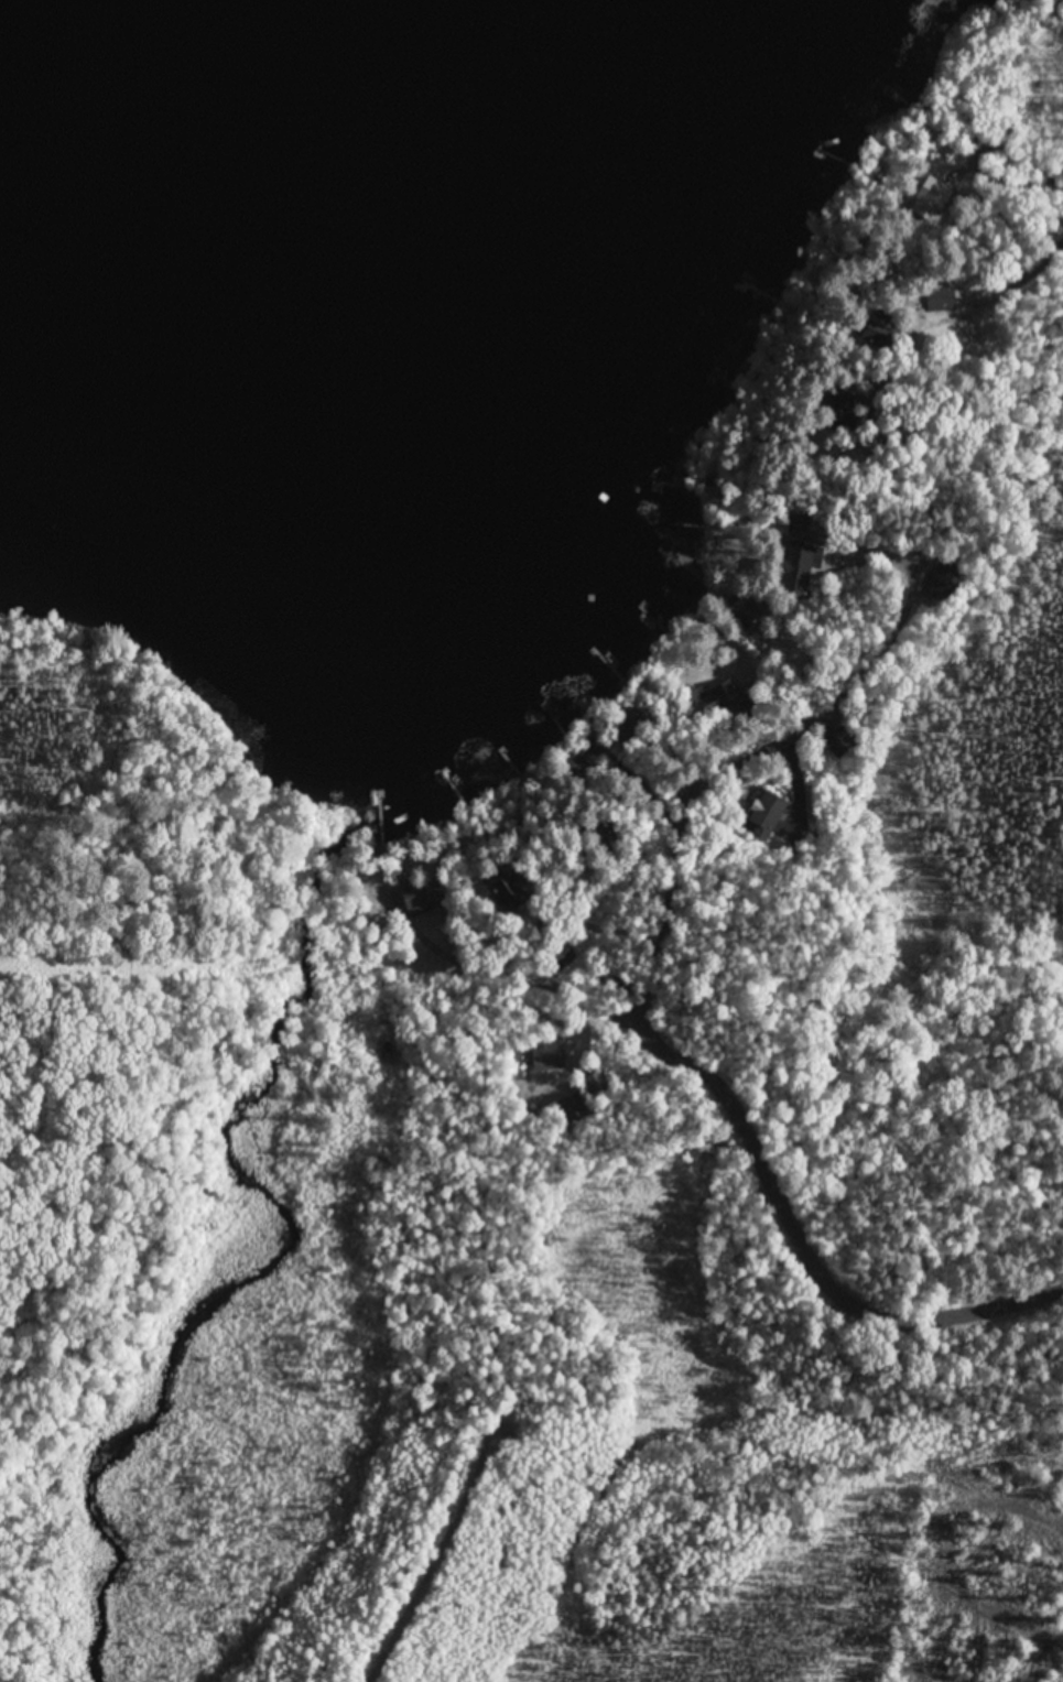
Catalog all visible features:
building: (711, 706)
road: (697, 769)
building: (758, 814)
building: (500, 886)
building: (424, 892)
building: (556, 953)
building: (542, 1051)
building: (595, 1078)
building: (572, 1100)
road: (783, 1197)
road: (438, 1556)

